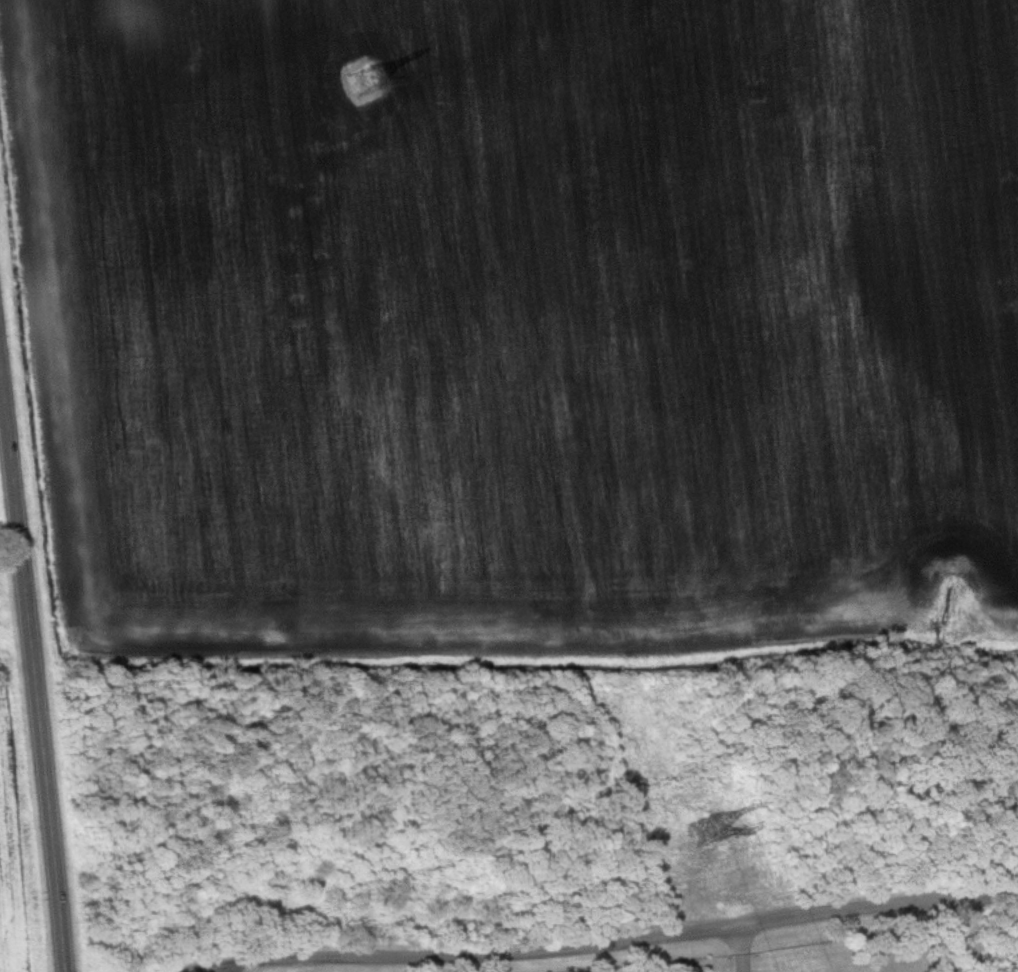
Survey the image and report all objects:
power tower: (366, 86)
road: (32, 673)
power tower: (702, 838)
road: (609, 943)
road: (739, 947)
road: (437, 963)
road: (249, 967)

